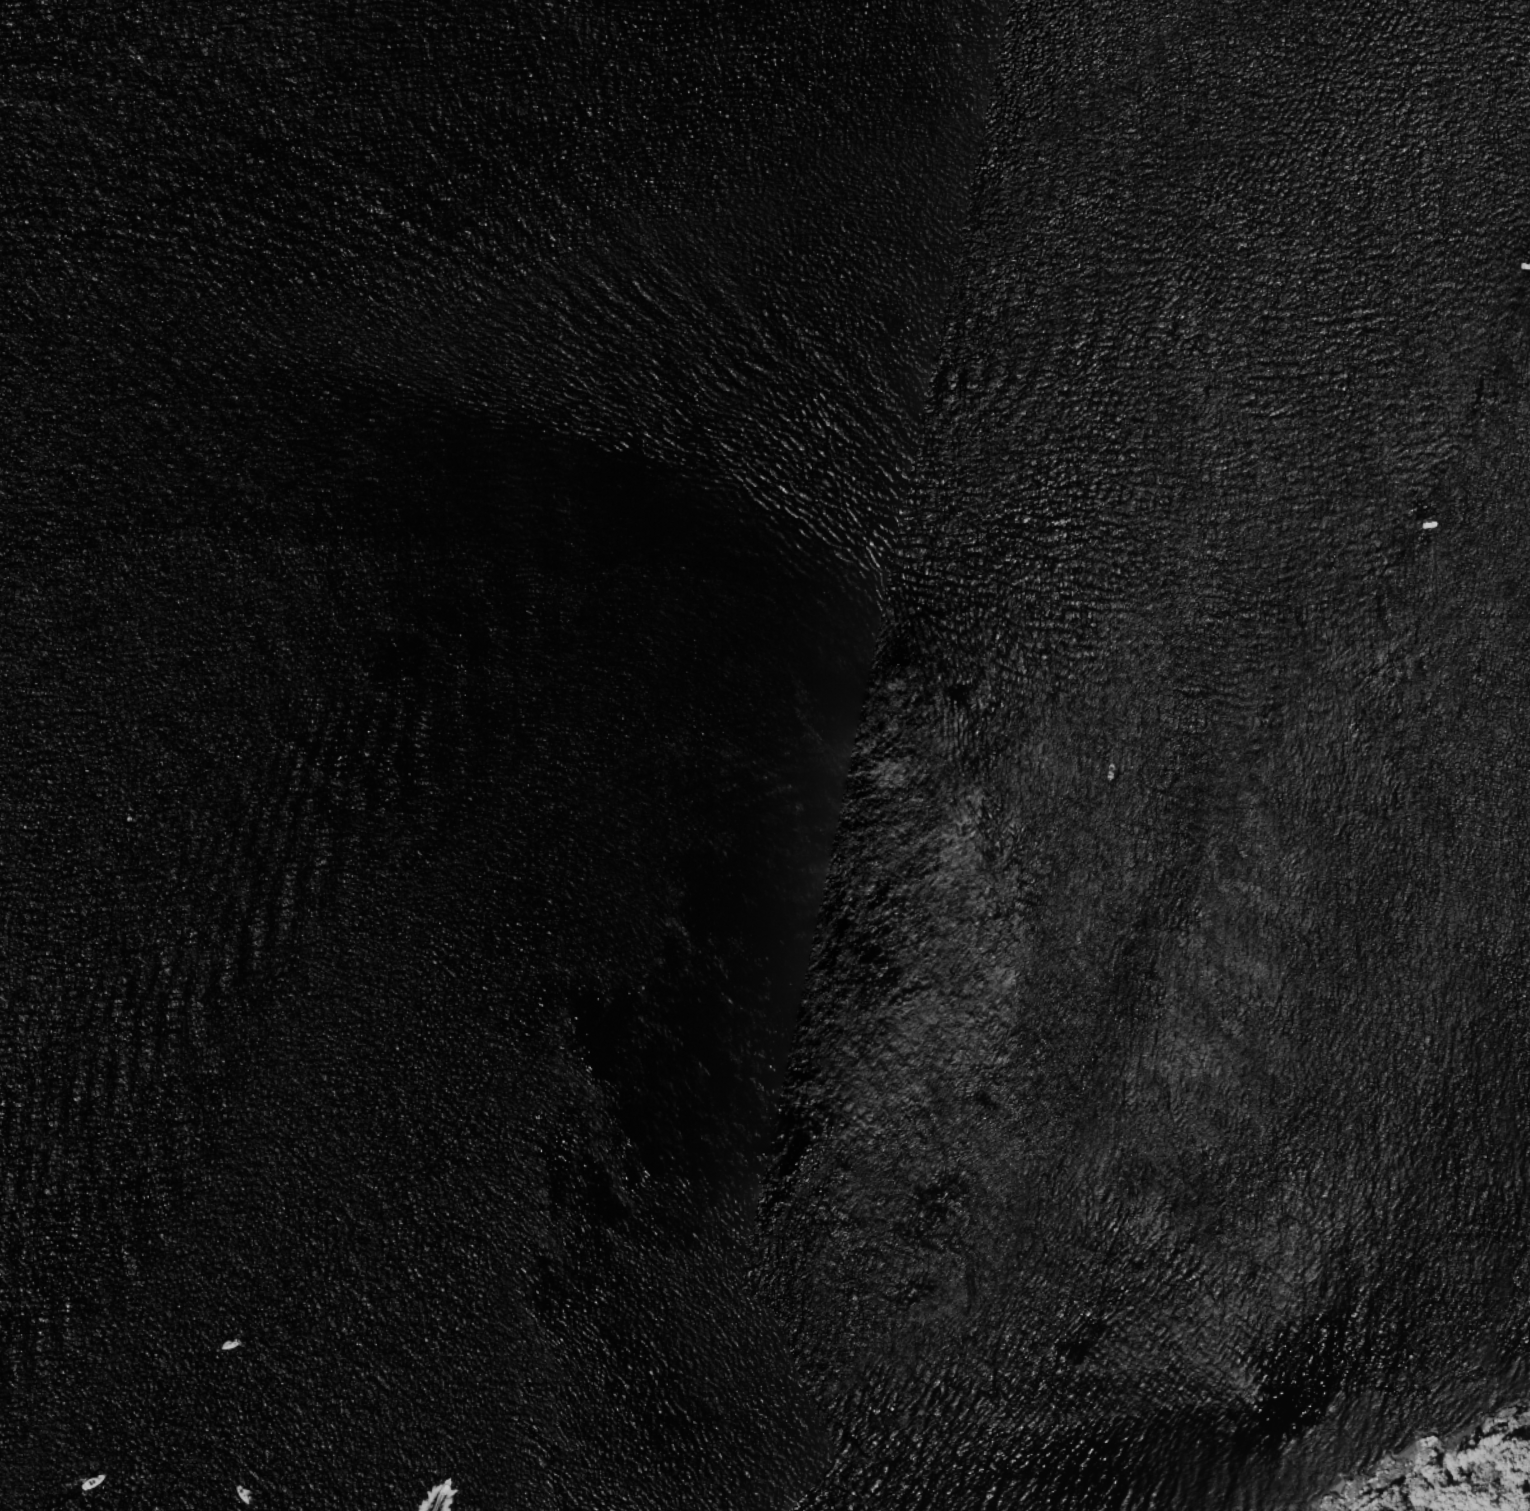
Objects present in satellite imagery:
park: (1455, 1471)

